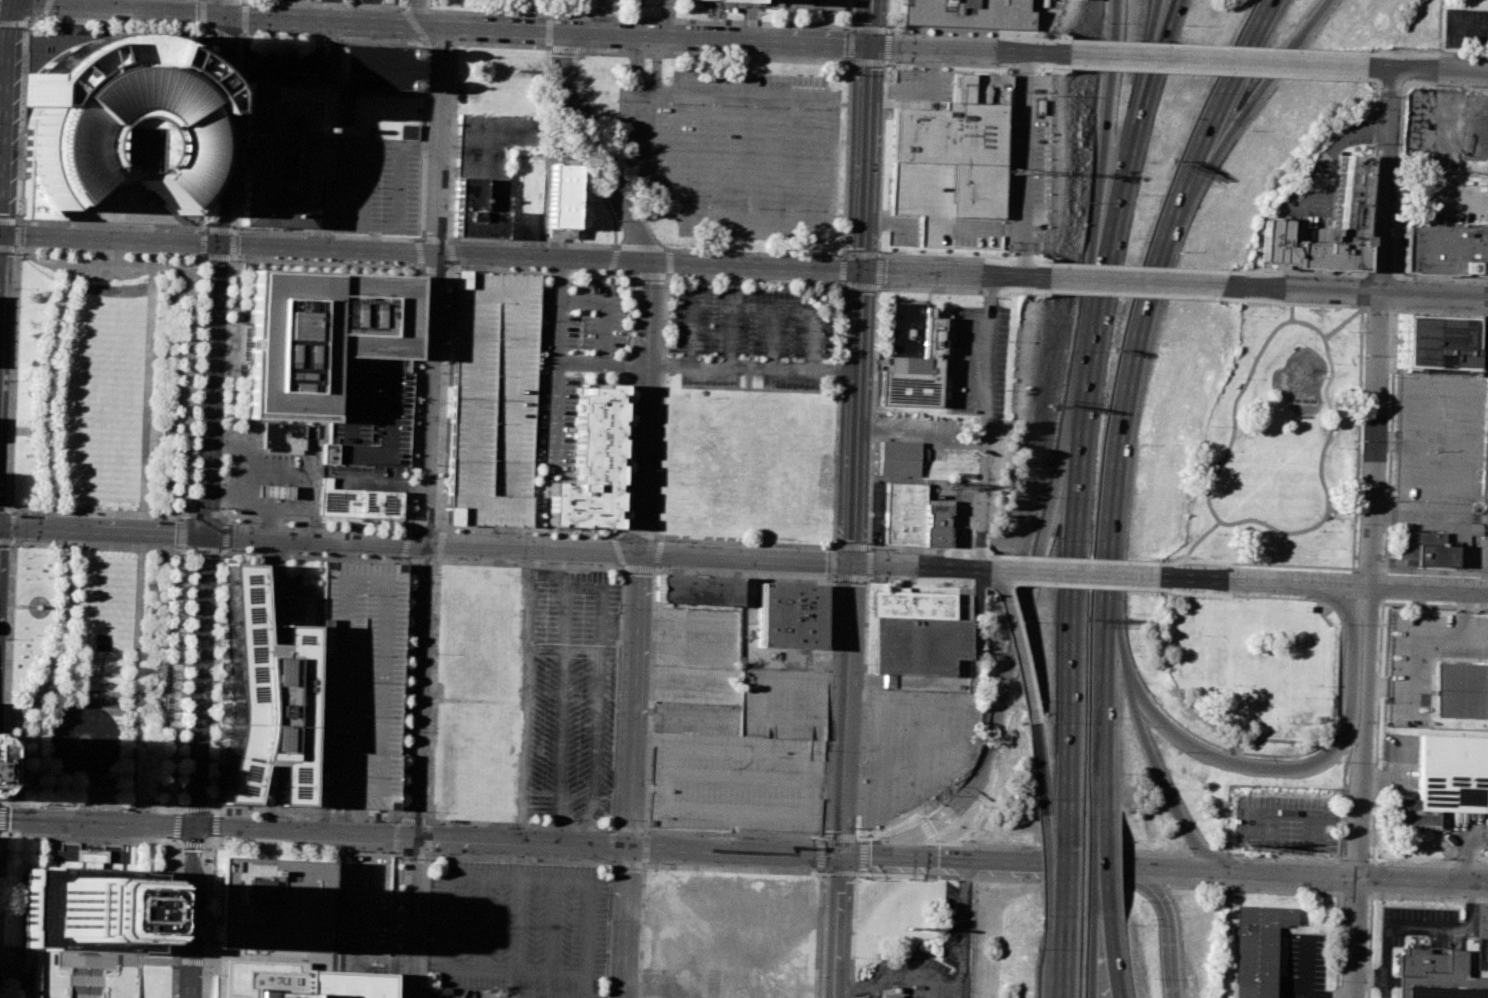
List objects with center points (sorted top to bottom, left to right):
road: (13, 2)
road: (70, 3)
road: (326, 3)
road: (429, 4)
building: (798, 4)
parking garage: (798, 4)
traffic signals: (13, 5)
road: (1164, 6)
road: (1167, 6)
road: (45, 7)
road: (226, 7)
road: (415, 7)
road: (113, 8)
road: (416, 12)
road: (201, 13)
building: (968, 13)
traffic signals: (226, 14)
road: (888, 14)
street lamp: (40, 17)
road: (42, 17)
road: (243, 17)
road: (654, 18)
road: (667, 18)
road: (868, 22)
road: (11, 23)
road: (24, 23)
road: (394, 24)
road: (414, 24)
parking lot: (1463, 29)
road: (1467, 29)
road: (548, 30)
road: (979, 31)
road: (224, 34)
road: (715, 38)
road: (441, 42)
road: (1218, 43)
traffic signals: (868, 45)
road: (966, 49)
road: (653, 51)
road: (1427, 52)
road: (852, 60)
road: (1213, 60)
parking lot: (286, 62)
road: (654, 64)
road: (640, 65)
road: (977, 65)
building: (376, 67)
road: (1424, 69)
road: (1214, 75)
road: (1269, 79)
road: (1381, 83)
road: (1445, 86)
road: (1107, 114)
road: (6, 119)
road: (1135, 121)
building: (171, 126)
building: (408, 131)
road: (330, 134)
road: (1024, 141)
road: (452, 142)
building: (112, 146)
road: (426, 147)
building: (281, 151)
building: (491, 152)
parking lot: (736, 152)
road: (864, 156)
road: (882, 158)
building: (953, 163)
road: (1434, 168)
road: (123, 183)
parking lot: (374, 185)
building: (561, 201)
building: (474, 212)
street lamp: (15, 216)
road: (815, 217)
road: (7, 221)
road: (18, 221)
road: (22, 221)
road: (614, 223)
building: (1335, 225)
road: (1397, 226)
road: (384, 228)
road: (203, 229)
road: (218, 229)
road: (233, 231)
road: (235, 231)
road: (1, 233)
traffic signals: (2, 234)
road: (17, 235)
road: (373, 238)
road: (433, 238)
road: (447, 240)
road: (202, 243)
traffic signals: (219, 243)
road: (232, 244)
building: (1270, 244)
road: (642, 246)
road: (1, 247)
road: (8, 248)
road: (18, 248)
road: (431, 251)
road: (1365, 251)
building: (1445, 251)
road: (739, 252)
road: (450, 255)
road: (202, 256)
road: (216, 256)
road: (231, 257)
road: (962, 257)
road: (613, 260)
road: (83, 264)
road: (177, 264)
road: (1, 265)
road: (1133, 265)
road: (420, 267)
road: (0, 272)
road: (952, 272)
road: (217, 273)
road: (629, 274)
road: (662, 275)
road: (1379, 276)
road: (1131, 281)
road: (430, 284)
road: (877, 284)
street lamp: (12, 289)
road: (960, 290)
road: (1353, 291)
road: (1127, 298)
road: (1286, 303)
road: (751, 307)
road: (1440, 310)
road: (1288, 312)
road: (1088, 332)
building: (318, 333)
road: (731, 337)
parking lot: (752, 339)
road: (773, 339)
road: (16, 340)
road: (986, 340)
building: (1440, 343)
road: (1327, 355)
road: (554, 356)
building: (909, 359)
parking lot: (976, 359)
parking lot: (570, 360)
road: (751, 368)
road: (1340, 368)
street lamp: (9, 380)
road: (185, 390)
road: (1124, 393)
building: (492, 399)
parking garage: (492, 399)
road: (146, 410)
road: (1358, 410)
building: (367, 411)
parking lot: (367, 411)
road: (853, 415)
road: (1229, 427)
road: (644, 429)
road: (46, 430)
road: (918, 435)
building: (283, 437)
parking lot: (1441, 438)
park: (1276, 441)
road: (1323, 444)
building: (897, 459)
building: (591, 462)
street lamp: (6, 472)
road: (10, 476)
parking lot: (1486, 476)
road: (869, 479)
road: (982, 487)
building: (274, 491)
road: (1386, 492)
building: (339, 503)
building: (380, 504)
road: (2, 509)
road: (9, 509)
street lamp: (59, 514)
building: (911, 515)
street lamp: (152, 518)
road: (412, 523)
road: (424, 523)
road: (436, 524)
road: (10, 526)
road: (410, 526)
park: (104, 527)
road: (102, 529)
road: (442, 530)
traffic signals: (206, 533)
road: (1368, 533)
road: (639, 535)
road: (1198, 538)
road: (4, 540)
road: (11, 541)
road: (76, 543)
road: (439, 543)
road: (527, 546)
road: (831, 546)
building: (1423, 548)
road: (223, 549)
road: (277, 555)
road: (1075, 555)
road: (437, 559)
road: (421, 560)
road: (436, 560)
road: (1282, 564)
road: (919, 565)
road: (1353, 568)
road: (638, 569)
road: (653, 569)
road: (1366, 569)
road: (1381, 570)
road: (1072, 572)
road: (1383, 572)
road: (832, 577)
street lamp: (832, 580)
street lamp: (942, 580)
street lamp: (868, 581)
road: (928, 581)
road: (1321, 582)
road: (1381, 586)
building: (695, 589)
road: (1072, 589)
street lamp: (1244, 598)
road: (1309, 599)
road: (1351, 599)
street lamp: (1313, 601)
street lamp: (1384, 603)
street lamp: (1477, 606)
road: (1464, 613)
road: (1023, 614)
road: (297, 615)
building: (788, 615)
street lamp: (1338, 623)
road: (1070, 625)
building: (913, 631)
street lamp: (5, 638)
road: (1410, 641)
road: (136, 656)
road: (1016, 658)
street lamp: (861, 664)
road: (176, 679)
road: (217, 679)
road: (7, 680)
street lamp: (1231, 684)
street lamp: (1315, 684)
building: (358, 685)
parking garage: (358, 685)
road: (1388, 687)
road: (402, 689)
building: (1462, 690)
parking lot: (572, 697)
building: (263, 700)
street lamp: (1380, 701)
road: (844, 707)
road: (14, 716)
road: (21, 722)
street lamp: (1286, 722)
road: (1376, 729)
parking lot: (733, 734)
road: (860, 742)
road: (1143, 747)
street lamp: (825, 750)
road: (1309, 764)
road: (198, 765)
road: (412, 770)
building: (1451, 773)
road: (1038, 780)
street lamp: (0, 787)
flagpole: (88, 787)
flagpole: (96, 787)
flagpole: (104, 787)
street lamp: (945, 794)
road: (3, 802)
street lamp: (1342, 802)
road: (1343, 804)
road: (157, 808)
road: (196, 809)
road: (211, 810)
road: (2, 811)
road: (181, 811)
street lamp: (424, 811)
road: (1301, 812)
street lamp: (261, 815)
road: (397, 819)
road: (98, 820)
road: (411, 820)
road: (395, 821)
road: (424, 821)
parking lot: (1287, 821)
street lamp: (382, 822)
road: (210, 823)
road: (426, 823)
traffic signals: (196, 825)
road: (1, 826)
street lamp: (501, 827)
street lamp: (856, 828)
road: (926, 829)
road: (619, 830)
road: (925, 830)
road: (302, 831)
road: (394, 836)
street lamp: (858, 836)
road: (180, 837)
road: (425, 837)
street lamp: (737, 837)
road: (210, 838)
road: (847, 838)
road: (857, 838)
road: (90, 839)
road: (520, 840)
road: (225, 841)
street lamp: (219, 843)
road: (820, 843)
road: (205, 844)
street lamp: (1015, 847)
road: (1059, 847)
street lamp: (181, 848)
street lamp: (334, 849)
road: (735, 849)
road: (435, 850)
road: (394, 852)
road: (459, 852)
road: (425, 853)
street lamp: (440, 853)
road: (644, 853)
road: (396, 854)
road: (410, 854)
traffic signals: (841, 854)
road: (423, 855)
road: (855, 855)
road: (857, 855)
road: (1211, 855)
road: (1470, 855)
traffic signals: (874, 856)
road: (448, 857)
road: (513, 858)
street lamp: (560, 858)
road: (1286, 858)
street lamp: (398, 859)
street lamp: (1339, 859)
road: (1355, 861)
road: (611, 862)
road: (996, 862)
road: (1043, 862)
road: (627, 863)
street lamp: (656, 863)
road: (399, 864)
road: (1098, 864)
road: (1428, 864)
road: (644, 865)
road: (1062, 865)
road: (728, 868)
street lamp: (642, 870)
street lamp: (807, 870)
road: (819, 871)
road: (837, 872)
road: (1, 874)
road: (855, 874)
street lamp: (820, 876)
road: (1303, 877)
road: (562, 881)
road: (1171, 887)
street lamp: (1439, 896)
street lamp: (1374, 898)
road: (346, 901)
building: (270, 904)
parking lot: (360, 904)
road: (1469, 906)
building: (88, 907)
street lamp: (179, 910)
road: (176, 911)
road: (360, 914)
road: (393, 914)
street lamp: (421, 917)
street lamp: (611, 920)
road: (175, 921)
road: (628, 921)
road: (480, 923)
road: (1166, 923)
road: (516, 924)
road: (1399, 924)
road: (837, 925)
road: (552, 926)
parking lot: (1419, 926)
road: (392, 927)
parking lot: (518, 927)
road: (1098, 927)
road: (1051, 933)
road: (852, 935)
road: (964, 936)
road: (1059, 936)
road: (640, 939)
road: (1337, 945)
road: (1370, 946)
road: (221, 949)
building: (1255, 949)
road: (327, 952)
building: (1481, 952)
road: (235, 956)
road: (252, 957)
street lamp: (850, 957)
road: (298, 958)
road: (381, 958)
parking lot: (930, 958)
building: (26, 959)
road: (96, 959)
road: (148, 960)
road: (176, 960)
road: (189, 960)
road: (351, 961)
road: (203, 962)
road: (211, 962)
road: (226, 963)
road: (356, 964)
street lamp: (177, 965)
road: (350, 967)
parking lot: (1303, 967)
road: (383, 968)
road: (481, 969)
street lamp: (638, 969)
road: (1092, 969)
road: (1109, 969)
road: (363, 971)
building: (1436, 975)
road: (228, 976)
road: (1057, 976)
road: (890, 978)
road: (1369, 978)
building: (228, 979)
street lamp: (1334, 981)
building: (302, 982)
street lamp: (394, 983)
road: (390, 985)
parking lot: (466, 992)
road: (1305, 993)
road: (566, 996)
building: (892, 996)
road: (583, 997)

